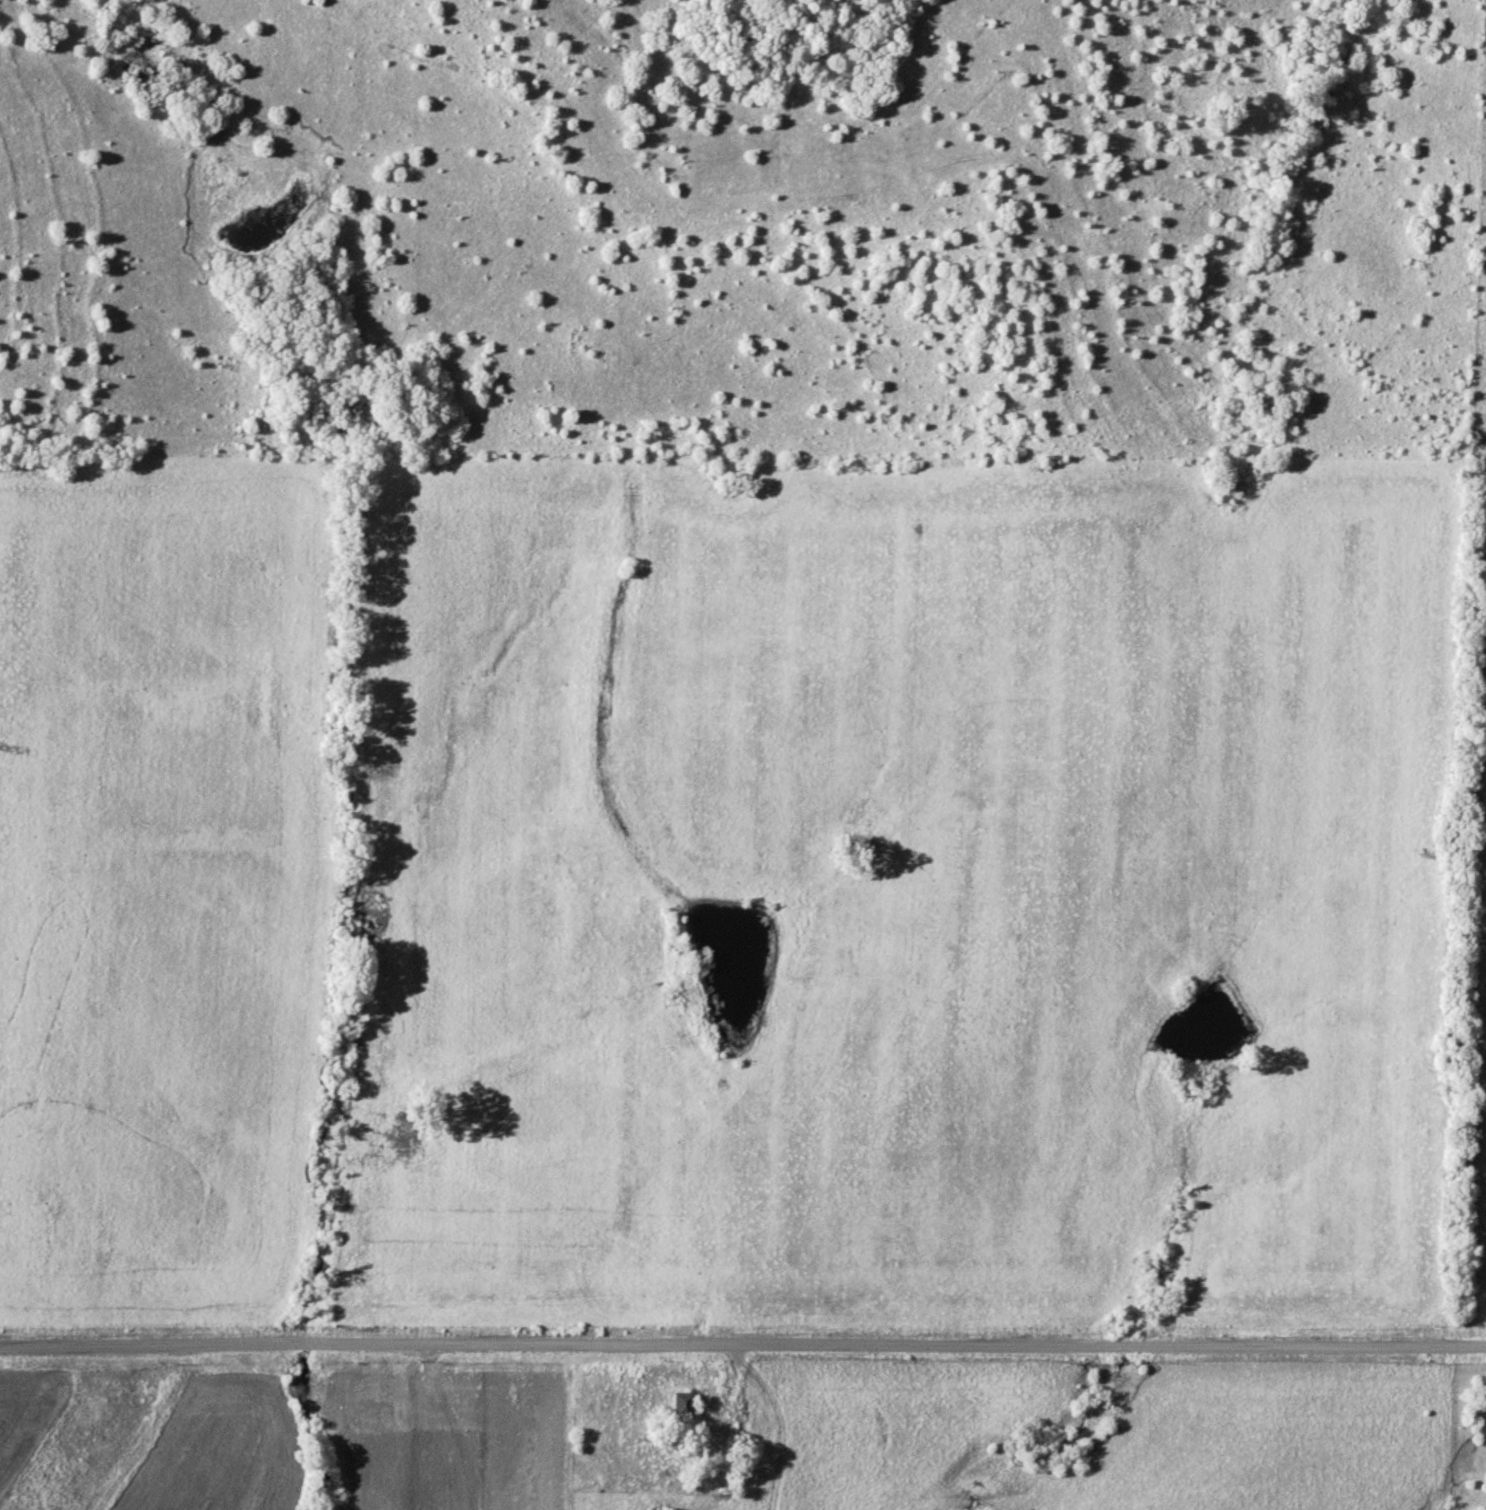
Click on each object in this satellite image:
road: (742, 1342)
building: (683, 1405)

